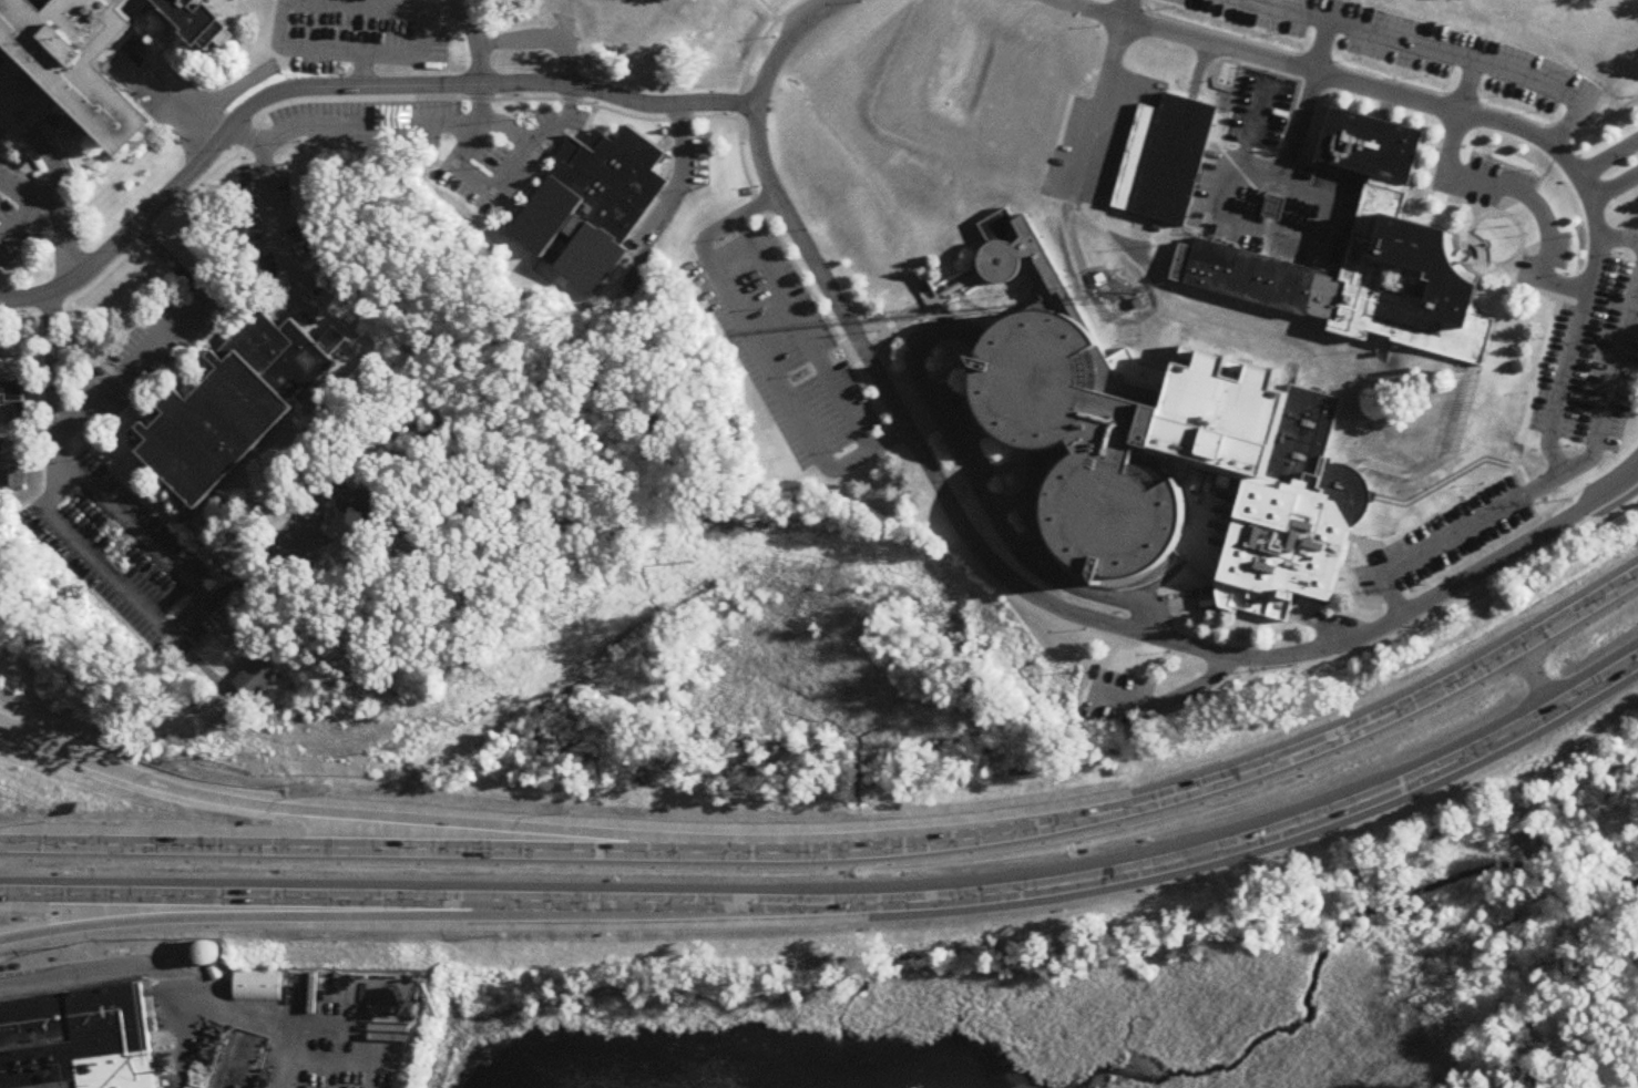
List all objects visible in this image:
road: (357, 7)
road: (1124, 7)
road: (438, 8)
building: (659, 22)
road: (1451, 52)
building: (85, 60)
road: (339, 89)
road: (1178, 91)
road: (300, 100)
road: (19, 102)
road: (1100, 102)
road: (1480, 107)
road: (737, 112)
road: (14, 117)
road: (186, 119)
road: (321, 127)
road: (582, 130)
road: (247, 136)
road: (554, 136)
parking lot: (433, 140)
road: (58, 146)
road: (1606, 156)
building: (1176, 160)
road: (51, 167)
road: (458, 170)
road: (532, 176)
road: (1501, 177)
road: (674, 181)
road: (34, 182)
road: (1220, 183)
parking lot: (674, 184)
road: (1611, 186)
building: (592, 204)
road: (64, 211)
road: (314, 211)
road: (19, 219)
road: (1617, 230)
building: (1010, 248)
road: (215, 319)
road: (33, 320)
road: (162, 336)
road: (759, 355)
road: (1610, 384)
building: (11, 393)
building: (1247, 393)
building: (235, 406)
road: (130, 427)
road: (108, 450)
road: (4, 460)
road: (109, 475)
road: (985, 493)
building: (368, 511)
road: (1448, 537)
road: (183, 544)
road: (280, 564)
road: (103, 568)
road: (1012, 583)
building: (255, 678)
road: (1169, 697)
road: (392, 822)
road: (847, 850)
road: (842, 905)
road: (315, 918)
building: (207, 954)
road: (175, 981)
building: (257, 988)
building: (78, 1046)
building: (243, 1061)

